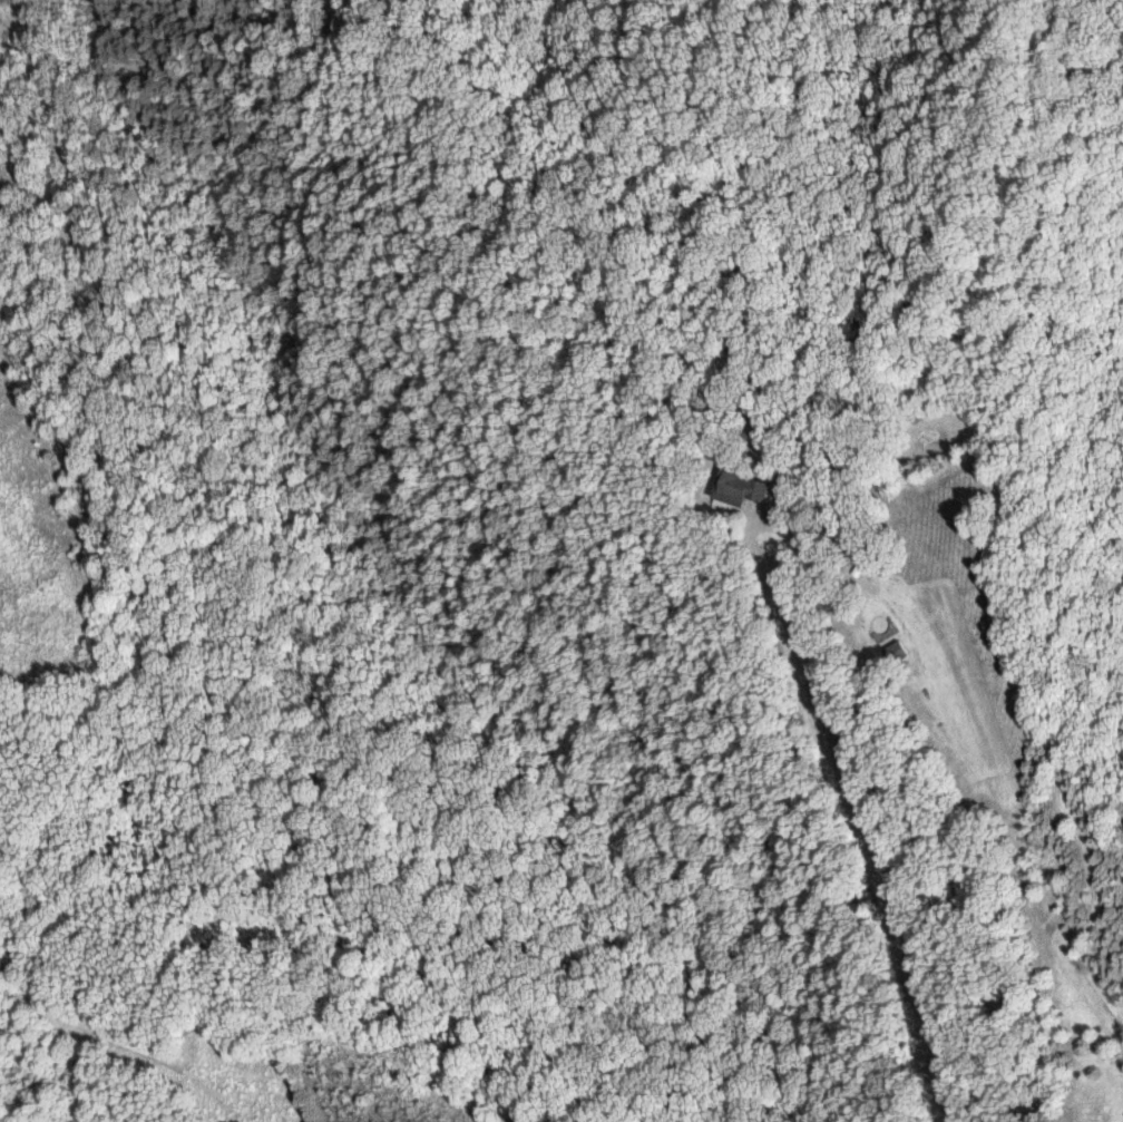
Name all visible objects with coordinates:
building: (741, 487)
road: (801, 540)
building: (895, 652)
road: (839, 801)

